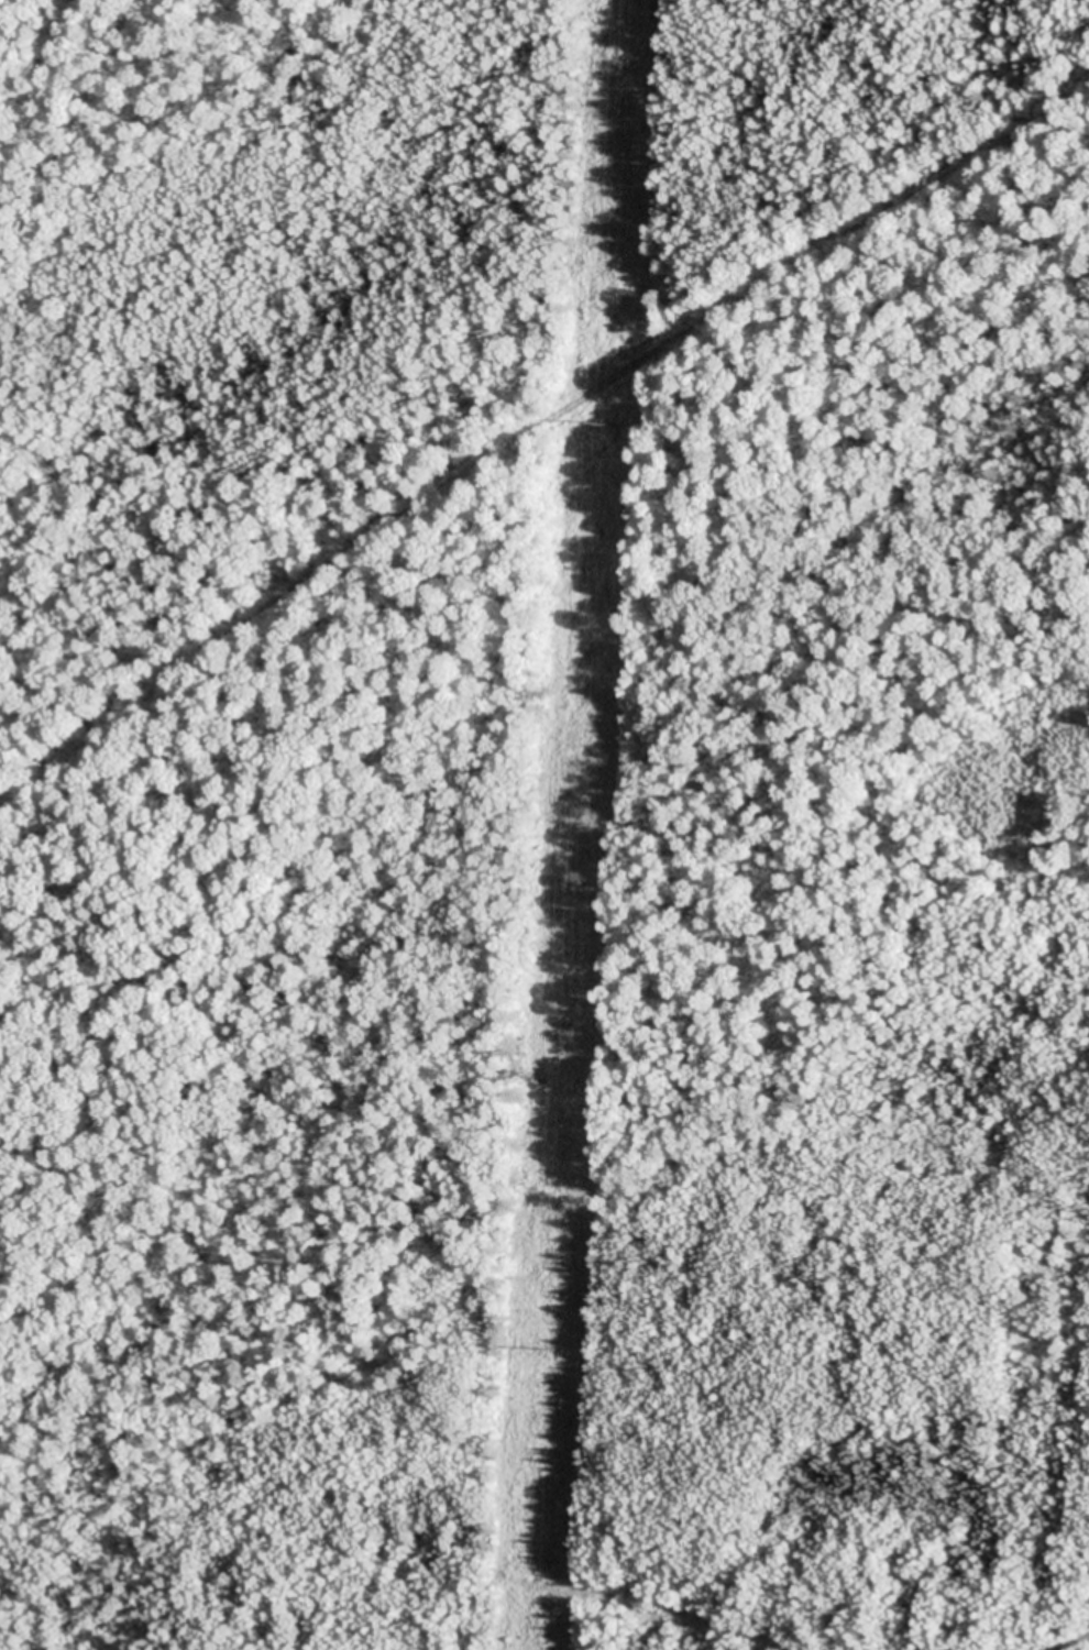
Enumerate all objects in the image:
road: (530, 400)
power tower: (605, 424)
power tower: (574, 906)
power tower: (551, 1350)

